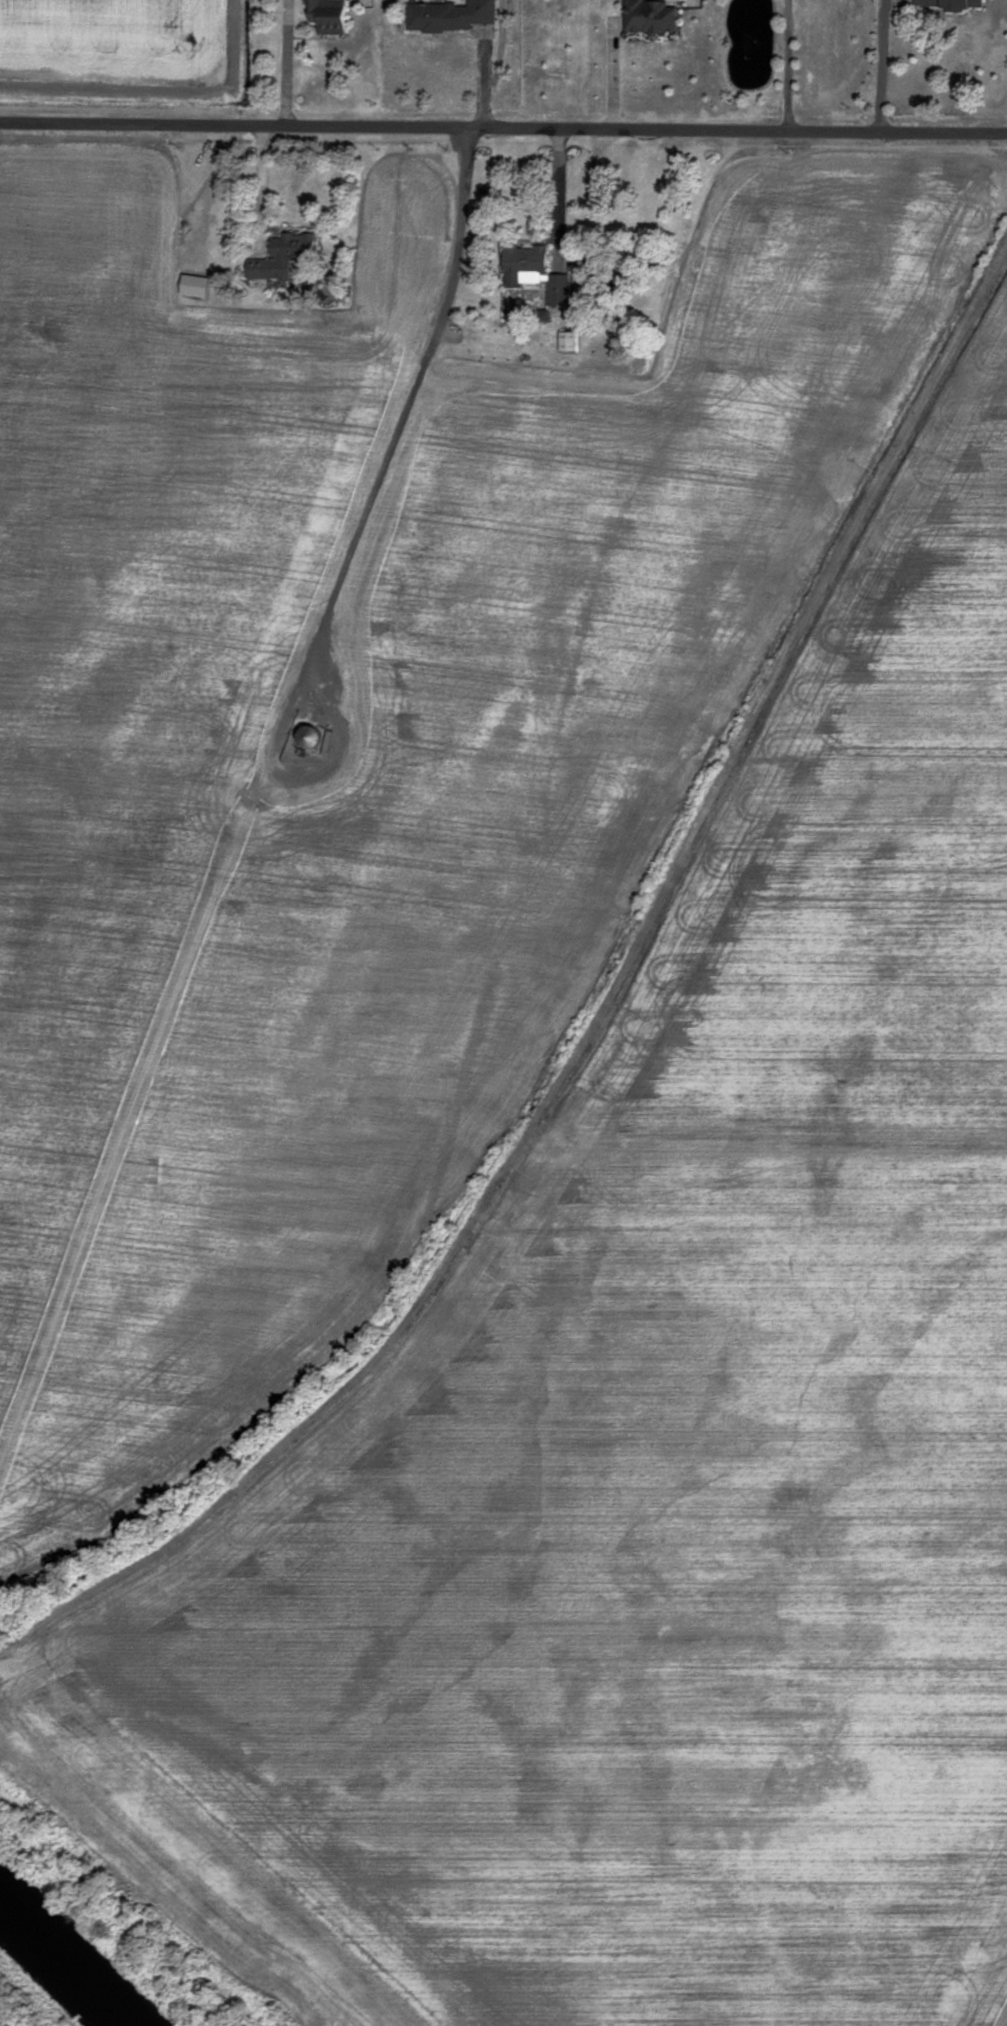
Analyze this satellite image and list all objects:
building: (943, 3)
building: (447, 15)
building: (331, 16)
building: (646, 16)
road: (288, 63)
road: (880, 66)
road: (498, 67)
road: (503, 128)
road: (262, 190)
road: (561, 193)
building: (285, 255)
building: (537, 271)
building: (197, 285)
building: (569, 340)

